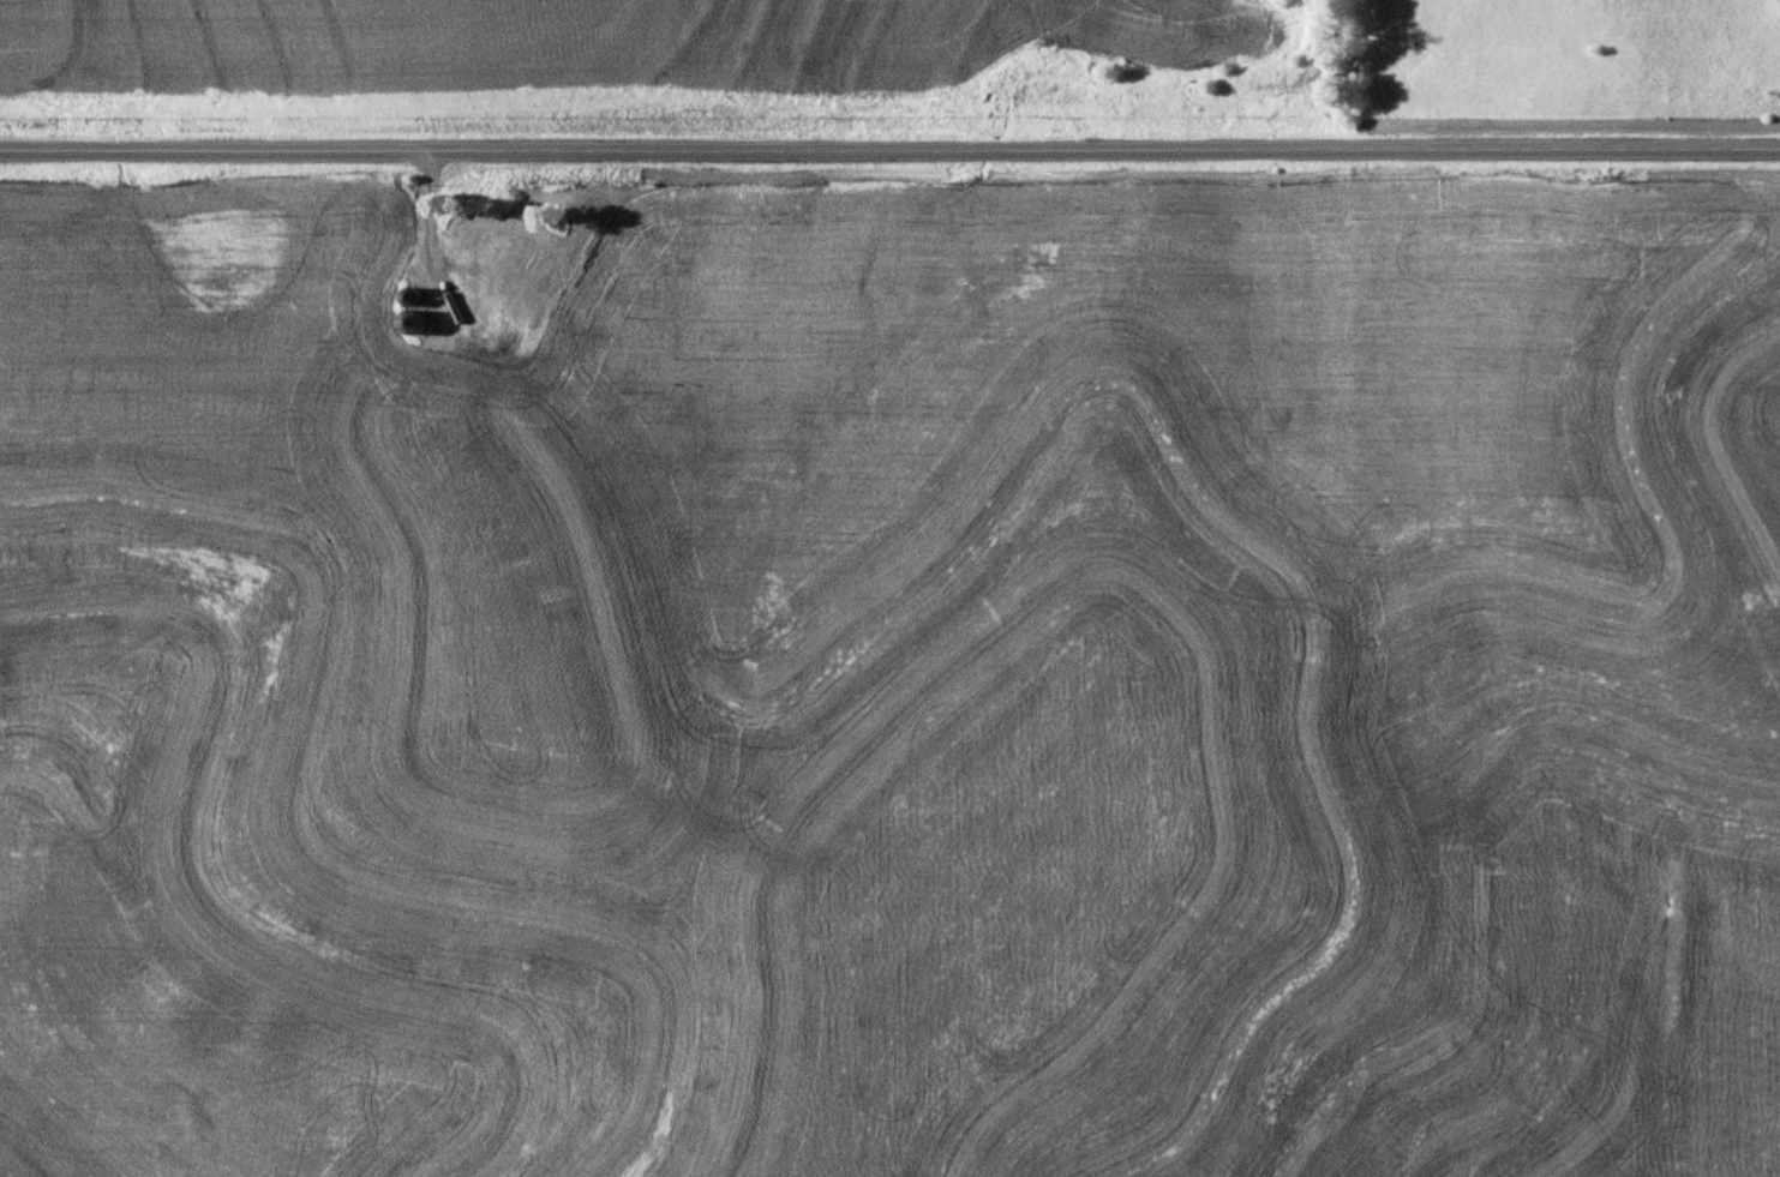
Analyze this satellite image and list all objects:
road: (889, 149)
building: (641, 217)
building: (418, 317)

